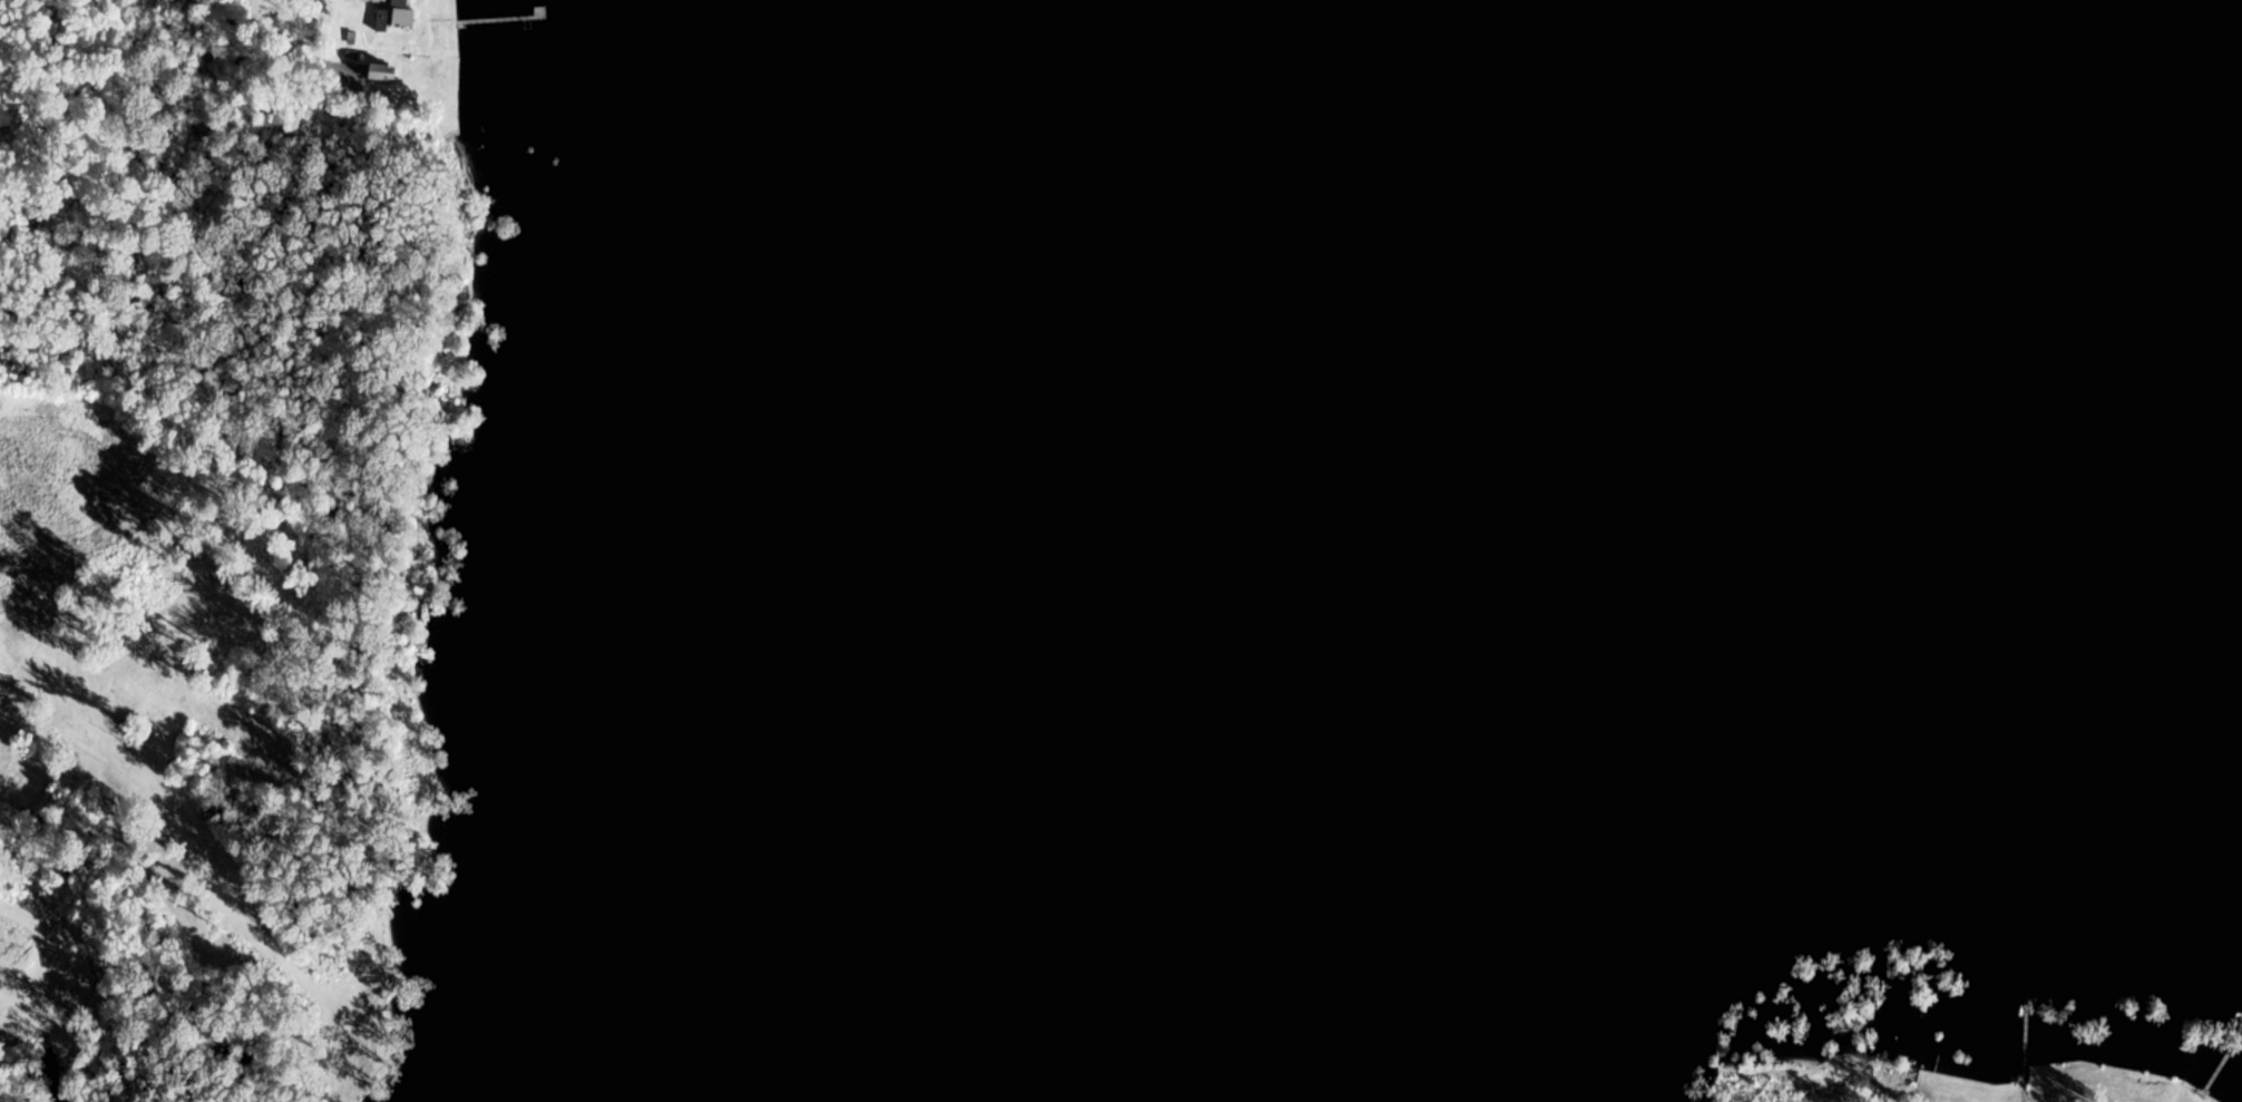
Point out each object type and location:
building: (391, 16)
park: (215, 655)
building: (361, 1070)

